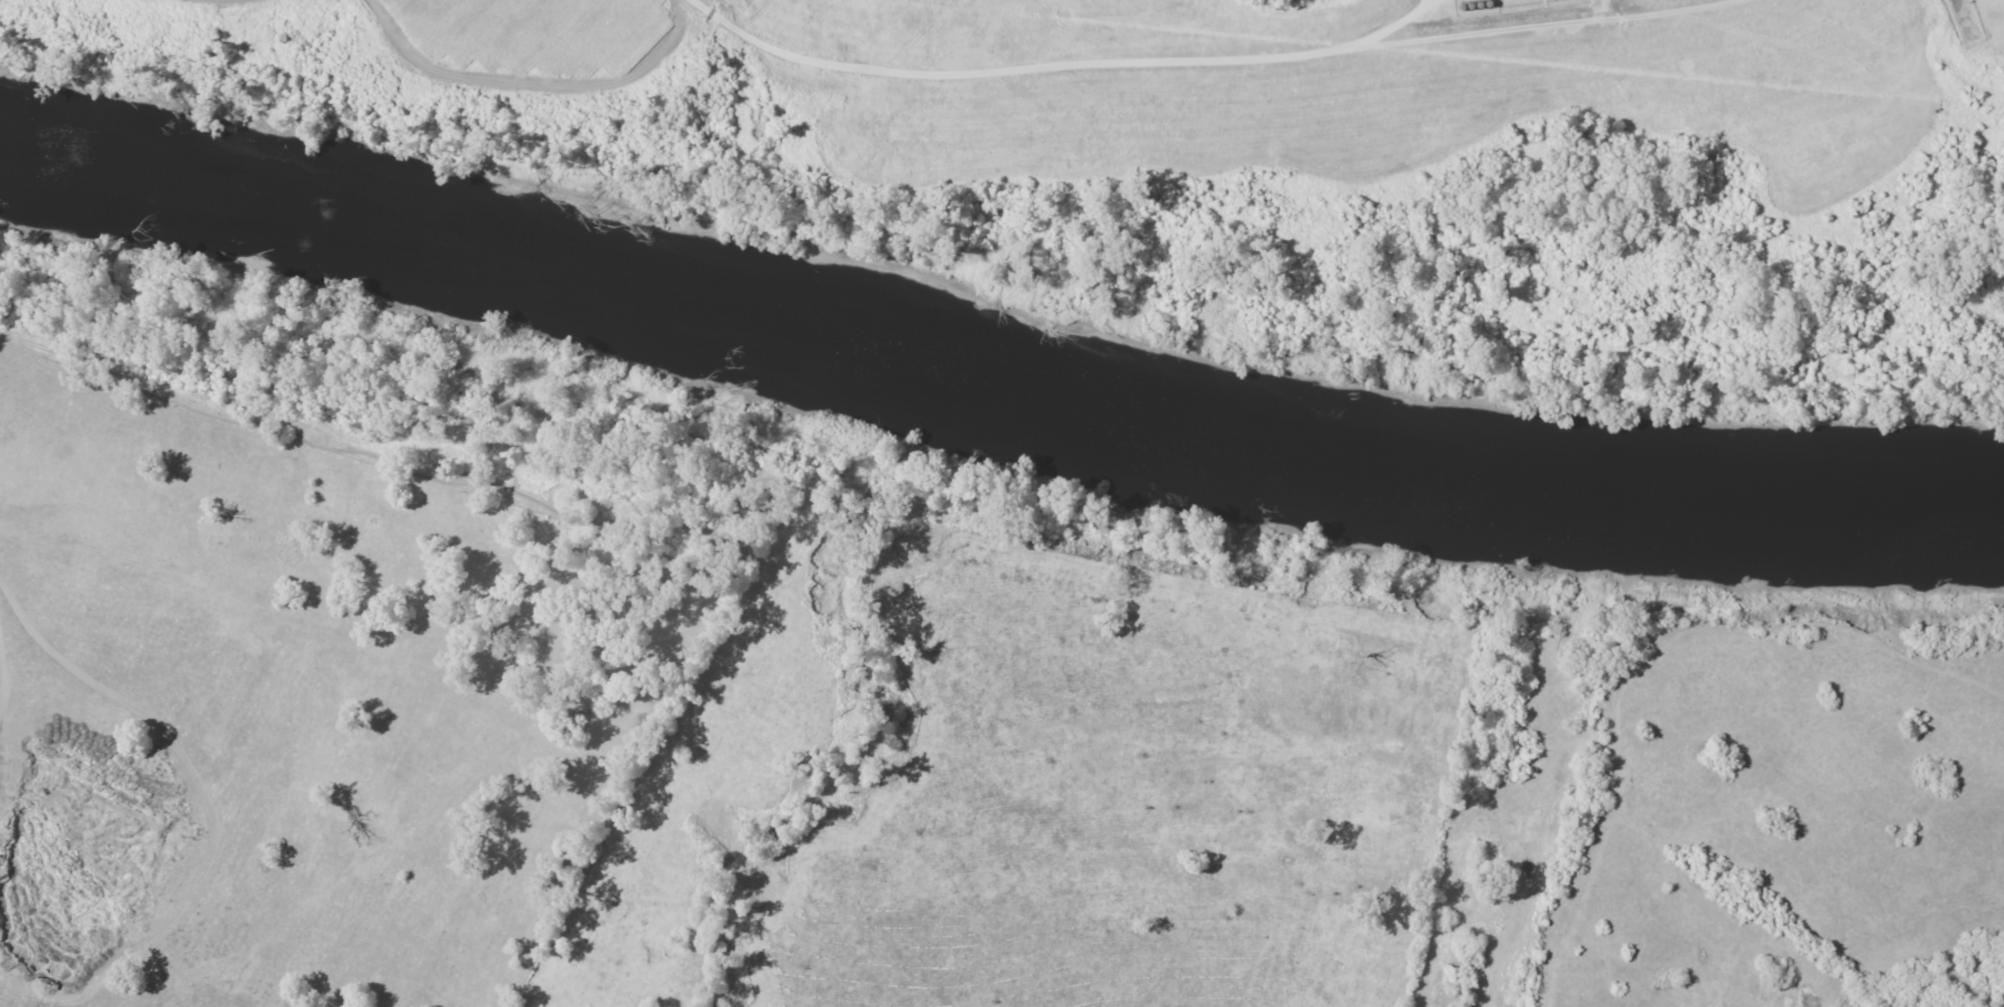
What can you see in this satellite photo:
building: (1961, 12)
silo: (1961, 12)
building: (1964, 21)
silo: (1964, 21)
road: (1984, 25)
building: (1968, 29)
silo: (1968, 29)
road: (1198, 60)
river: (438, 222)
river: (1215, 434)
river: (1790, 509)

